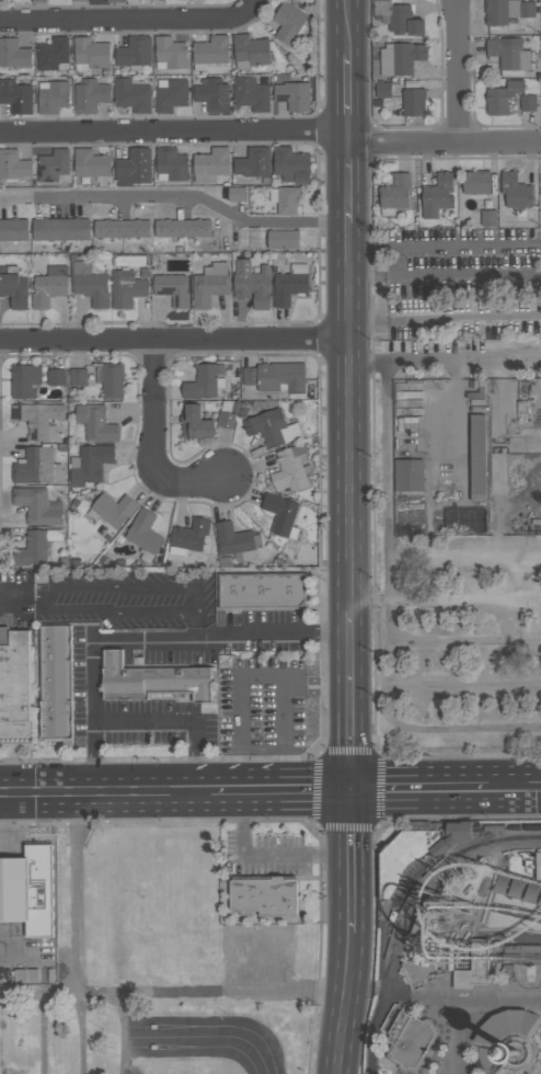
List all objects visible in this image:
building: (157, 0)
building: (194, 0)
building: (38, 1)
building: (79, 1)
building: (116, 1)
building: (527, 10)
building: (500, 11)
building: (398, 18)
road: (129, 21)
building: (289, 23)
road: (347, 26)
building: (210, 52)
building: (250, 52)
building: (134, 53)
building: (13, 54)
building: (90, 54)
building: (170, 54)
building: (53, 55)
building: (509, 56)
building: (401, 58)
road: (457, 69)
building: (382, 90)
road: (349, 91)
building: (251, 93)
building: (212, 94)
building: (131, 95)
building: (170, 95)
building: (15, 96)
building: (53, 96)
building: (90, 96)
building: (293, 96)
building: (503, 96)
building: (410, 102)
building: (527, 103)
road: (175, 130)
road: (350, 136)
road: (498, 139)
road: (403, 140)
building: (253, 162)
building: (53, 164)
building: (92, 164)
building: (171, 164)
building: (291, 164)
building: (13, 165)
building: (210, 165)
building: (134, 168)
building: (475, 182)
road: (350, 183)
building: (515, 191)
building: (237, 194)
building: (394, 194)
building: (437, 195)
building: (285, 199)
road: (177, 202)
building: (487, 218)
building: (122, 228)
building: (182, 228)
building: (60, 229)
building: (13, 230)
building: (283, 239)
road: (431, 275)
building: (90, 284)
building: (252, 284)
building: (210, 285)
building: (290, 285)
building: (49, 286)
building: (14, 288)
building: (126, 288)
building: (172, 289)
road: (447, 320)
road: (176, 341)
road: (447, 365)
building: (78, 377)
building: (276, 377)
street lamp: (414, 377)
street lamp: (538, 377)
building: (56, 378)
building: (24, 380)
building: (110, 380)
building: (203, 382)
building: (475, 396)
road: (454, 414)
building: (226, 416)
road: (352, 419)
building: (38, 420)
building: (195, 423)
building: (96, 424)
building: (272, 429)
road: (156, 437)
street lamp: (415, 456)
building: (476, 459)
street lamp: (536, 460)
building: (89, 465)
building: (36, 467)
building: (290, 470)
building: (408, 475)
building: (36, 505)
building: (114, 510)
building: (280, 515)
building: (464, 522)
building: (143, 532)
building: (188, 537)
building: (237, 542)
street lamp: (415, 544)
road: (388, 545)
building: (35, 547)
building: (261, 591)
road: (111, 595)
road: (369, 601)
road: (464, 601)
road: (350, 621)
street lamp: (416, 621)
road: (265, 633)
road: (464, 642)
parking lot: (461, 656)
road: (93, 665)
building: (150, 679)
building: (56, 682)
road: (464, 685)
building: (15, 686)
street lamp: (538, 707)
street lamp: (324, 709)
street lamp: (417, 710)
road: (349, 711)
road: (177, 721)
road: (463, 731)
street lamp: (373, 744)
road: (316, 756)
street lamp: (311, 757)
street lamp: (530, 757)
street lamp: (429, 758)
road: (511, 789)
road: (414, 790)
road: (103, 791)
road: (277, 792)
traffic signals: (348, 792)
road: (446, 818)
street lamp: (383, 820)
street lamp: (59, 821)
road: (283, 821)
street lamp: (308, 822)
building: (419, 826)
building: (436, 826)
railway: (507, 829)
flagpole: (30, 833)
flagpole: (36, 833)
flagpole: (44, 833)
street lamp: (322, 833)
street lamp: (373, 834)
building: (384, 847)
building: (417, 853)
road: (349, 862)
building: (514, 864)
building: (538, 866)
road: (513, 880)
building: (28, 890)
building: (517, 890)
road: (76, 891)
building: (264, 895)
street lamp: (140, 898)
road: (491, 902)
railway: (403, 912)
building: (392, 918)
storage tank: (392, 918)
road: (382, 926)
road: (497, 930)
building: (421, 935)
building: (522, 950)
theme park: (459, 951)
road: (449, 952)
road: (451, 955)
building: (479, 956)
building: (414, 958)
building: (450, 961)
road: (375, 962)
parking lot: (158, 967)
road: (260, 968)
building: (507, 969)
building: (419, 970)
building: (50, 975)
park: (527, 975)
building: (27, 976)
building: (469, 979)
road: (380, 989)
street lamp: (522, 990)
street lamp: (536, 990)
road: (173, 993)
road: (345, 1004)
street lamp: (320, 1008)
street lamp: (225, 1010)
road: (465, 1016)
building: (506, 1027)
road: (532, 1028)
road: (532, 1030)
road: (372, 1031)
road: (2, 1033)
road: (45, 1033)
road: (84, 1033)
road: (124, 1033)
building: (540, 1033)
road: (540, 1035)
road: (205, 1037)
road: (539, 1037)
toll booth: (152, 1038)
road: (522, 1039)
road: (523, 1039)
road: (522, 1040)
building: (412, 1043)
road: (536, 1051)
building: (515, 1052)
road: (502, 1055)
road: (532, 1055)
road: (499, 1056)
road: (504, 1059)
park: (488, 1061)
road: (511, 1067)
road: (522, 1072)

